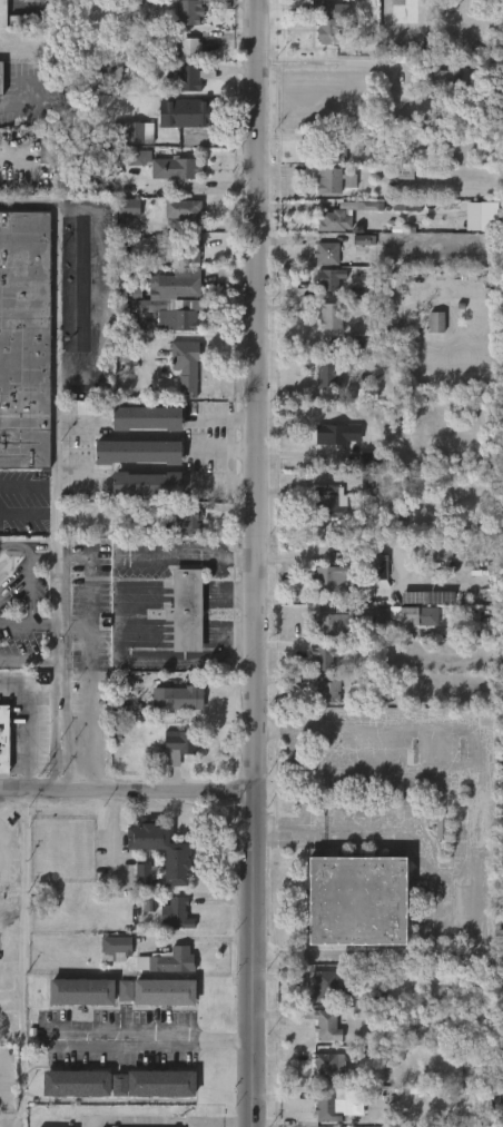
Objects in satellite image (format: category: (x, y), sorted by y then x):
building: (447, 4)
building: (188, 11)
building: (23, 12)
building: (2, 13)
building: (329, 23)
building: (189, 49)
road: (323, 62)
building: (443, 77)
building: (1, 78)
building: (189, 79)
road: (26, 108)
building: (186, 112)
building: (132, 131)
building: (48, 146)
building: (329, 150)
building: (181, 168)
building: (404, 174)
building: (327, 178)
building: (128, 207)
building: (186, 210)
building: (342, 216)
building: (364, 239)
building: (190, 248)
building: (327, 254)
building: (494, 256)
building: (328, 278)
building: (179, 299)
building: (329, 316)
building: (436, 323)
building: (24, 339)
road: (56, 356)
building: (332, 360)
building: (186, 364)
building: (147, 418)
road: (78, 423)
building: (337, 434)
road: (223, 449)
building: (138, 452)
road: (77, 463)
road: (225, 483)
building: (369, 483)
building: (147, 484)
building: (331, 503)
building: (188, 523)
building: (437, 552)
road: (157, 557)
road: (257, 563)
building: (375, 566)
building: (328, 577)
building: (427, 597)
building: (186, 612)
building: (413, 615)
road: (56, 617)
building: (338, 624)
building: (324, 653)
road: (156, 656)
road: (47, 662)
building: (327, 690)
building: (176, 699)
road: (56, 726)
road: (457, 729)
building: (3, 736)
building: (181, 741)
road: (128, 791)
building: (442, 828)
road: (114, 834)
building: (177, 852)
building: (144, 873)
road: (433, 897)
building: (359, 898)
building: (148, 906)
building: (178, 913)
building: (112, 949)
building: (167, 960)
building: (324, 987)
building: (82, 991)
building: (159, 991)
building: (322, 1025)
road: (159, 1039)
building: (326, 1067)
building: (77, 1082)
building: (155, 1084)
building: (483, 1103)
building: (327, 1107)
road: (171, 1119)

